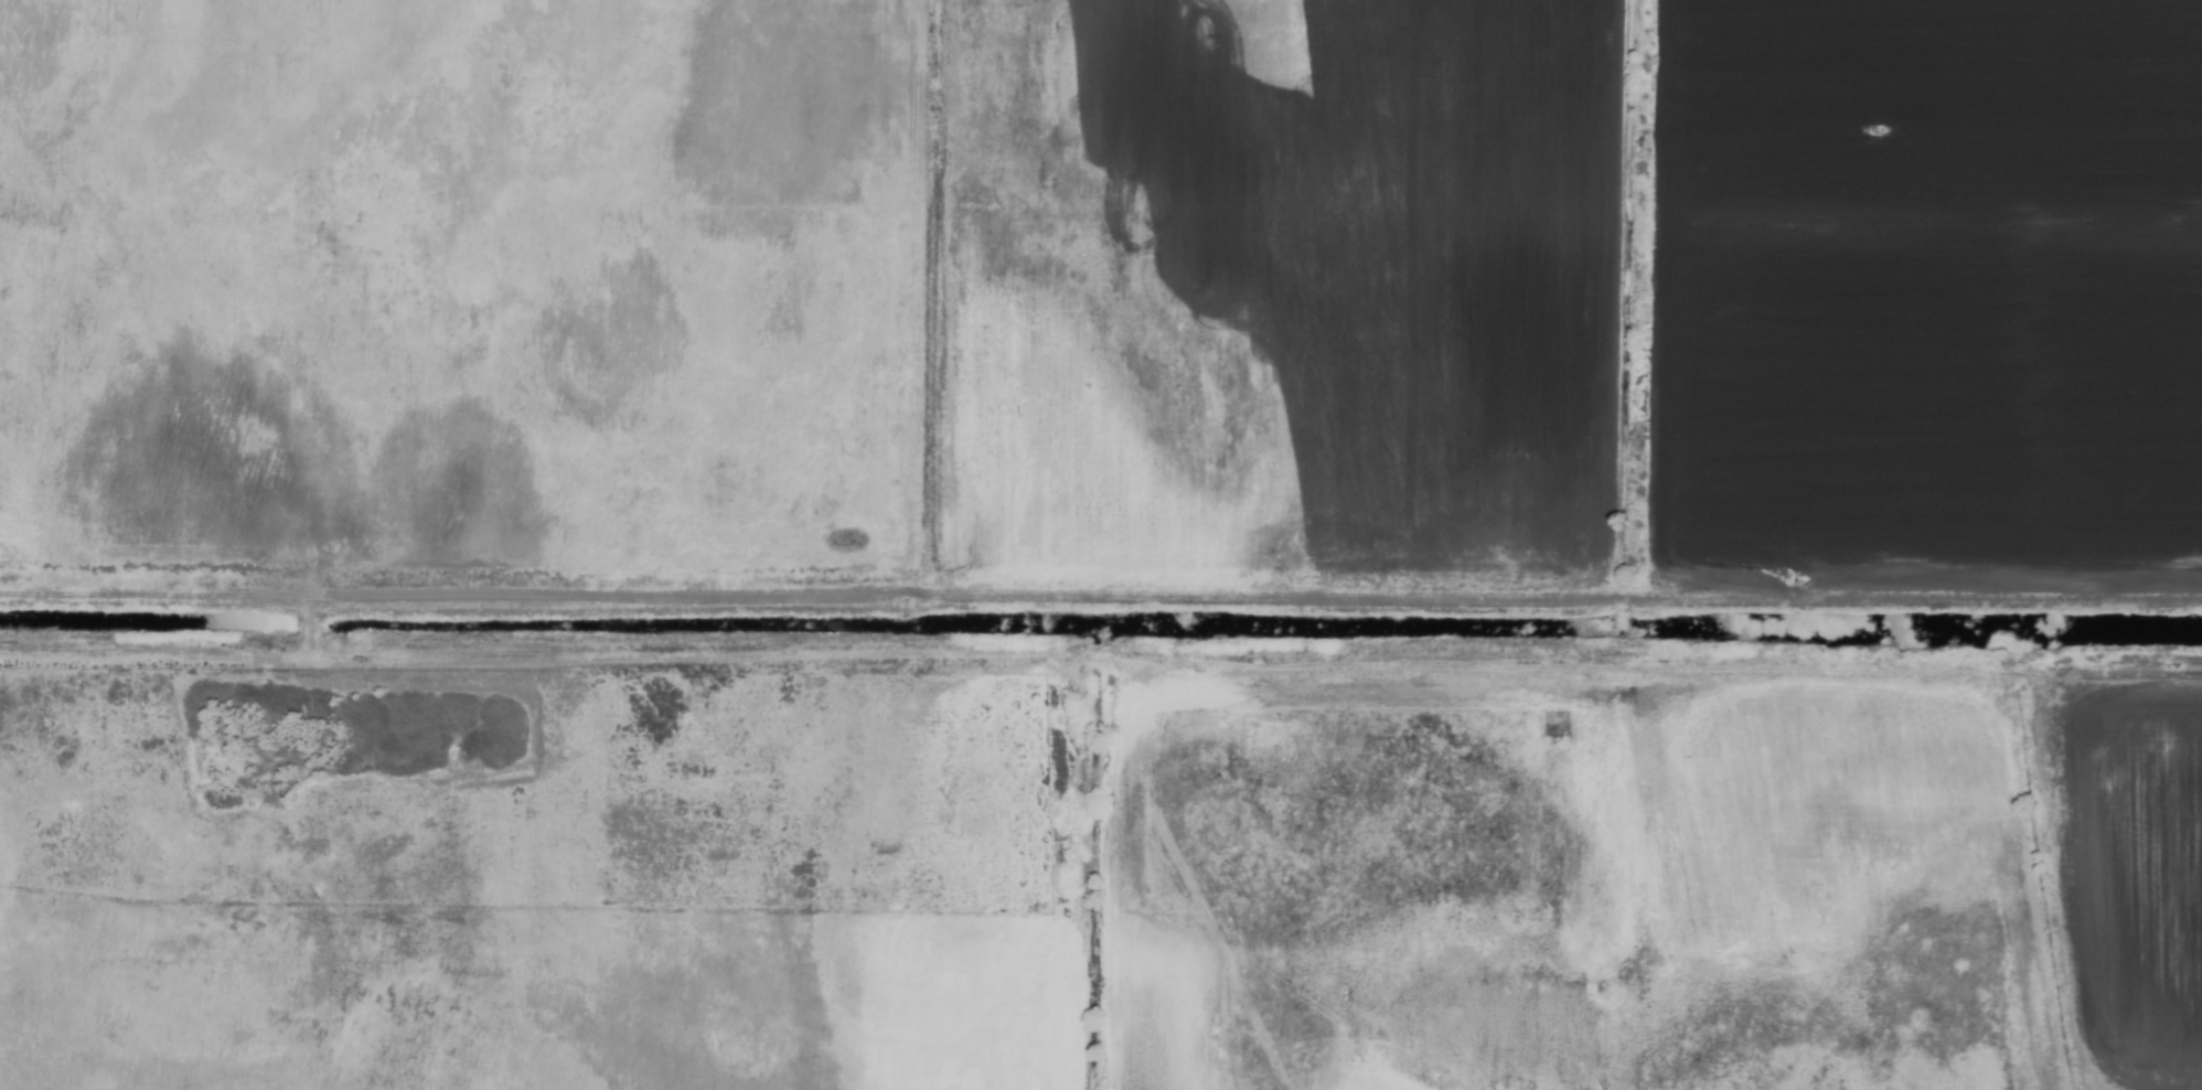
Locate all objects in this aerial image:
crop: (1101, 545)
road: (1100, 610)
road: (1101, 653)

